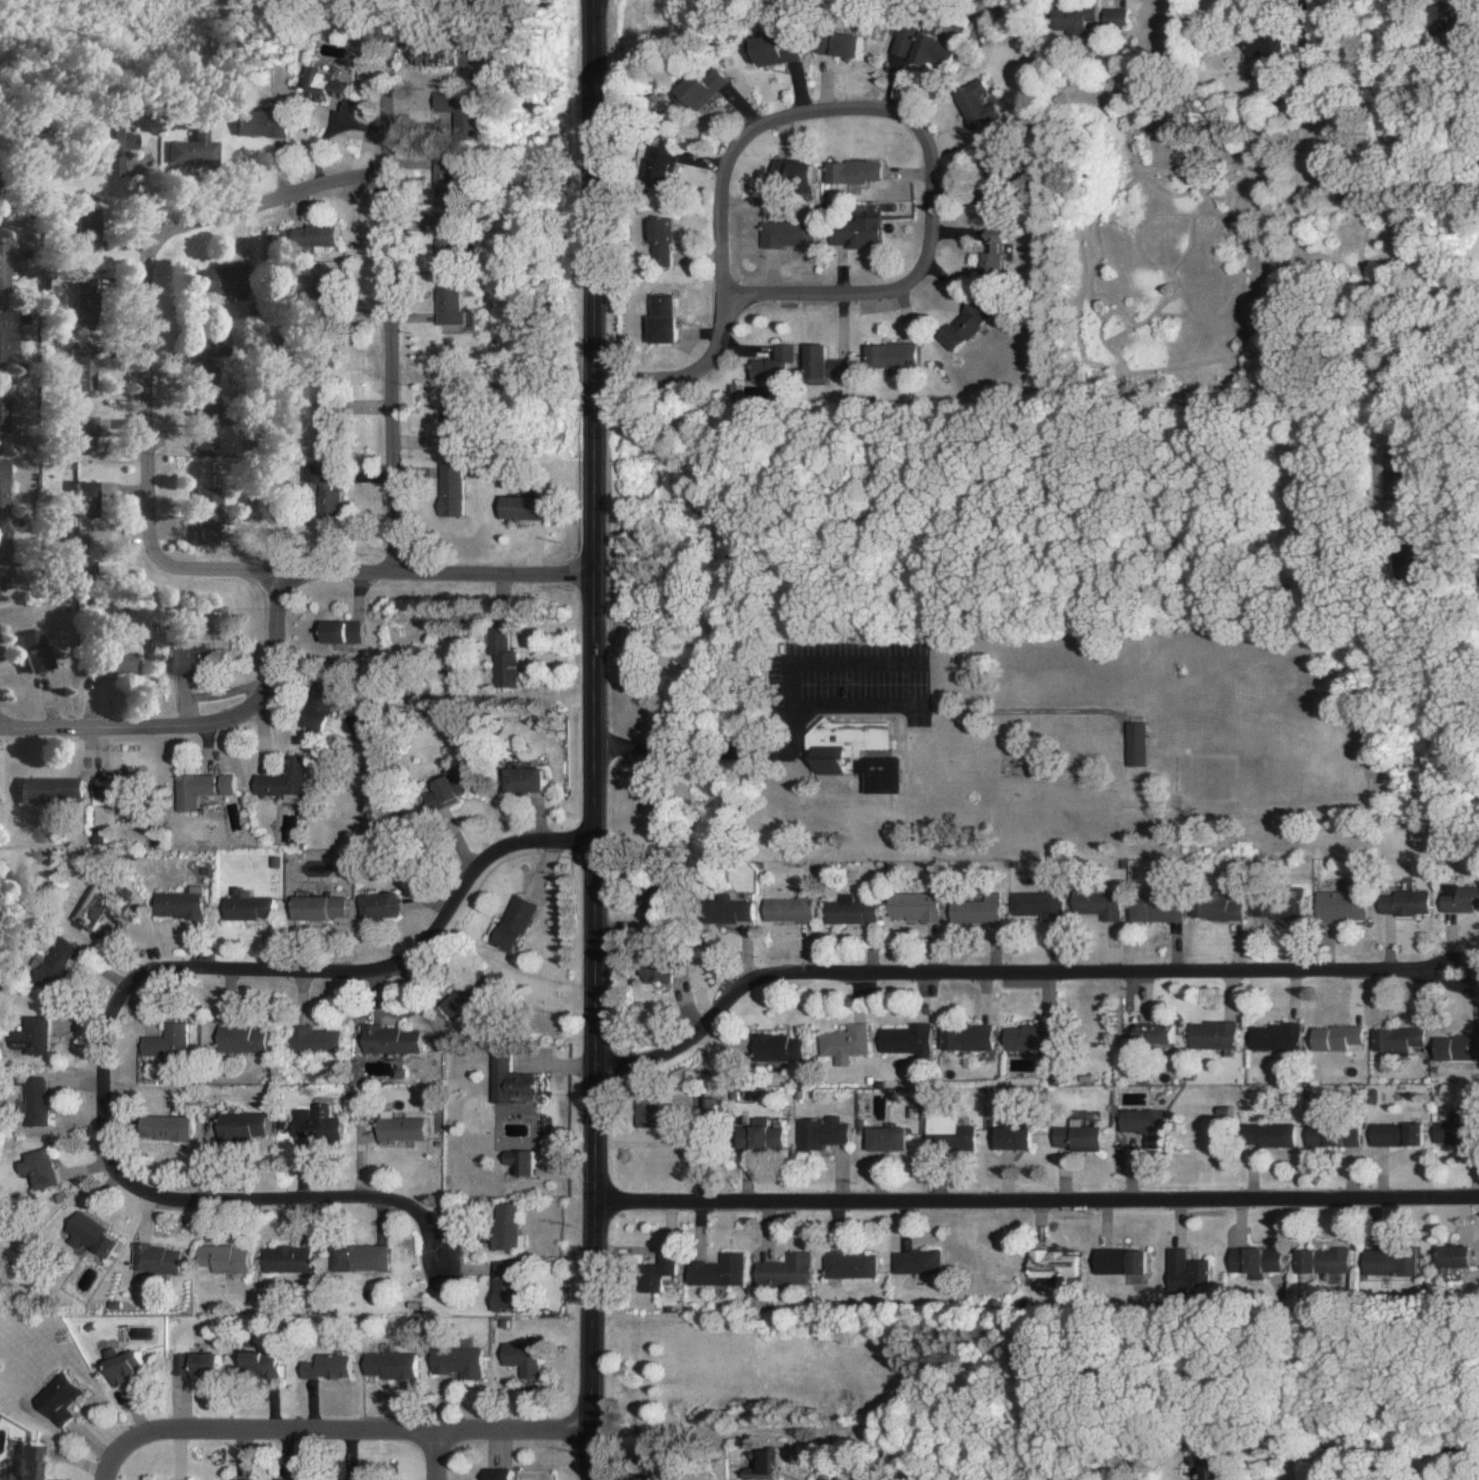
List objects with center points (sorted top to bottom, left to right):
building: (1114, 16)
building: (1075, 20)
building: (1460, 20)
road: (1288, 29)
building: (924, 44)
building: (850, 45)
building: (1263, 45)
building: (774, 50)
building: (440, 56)
building: (331, 86)
building: (707, 86)
building: (978, 104)
building: (456, 110)
building: (261, 123)
building: (112, 149)
building: (191, 149)
building: (665, 166)
building: (794, 171)
building: (854, 171)
building: (443, 183)
road: (932, 200)
building: (88, 229)
building: (855, 232)
building: (786, 234)
building: (314, 236)
building: (662, 241)
building: (997, 251)
building: (4, 268)
building: (220, 279)
road: (154, 287)
building: (447, 301)
building: (88, 304)
building: (661, 318)
building: (968, 326)
road: (390, 332)
building: (7, 338)
building: (891, 355)
building: (824, 363)
building: (87, 366)
building: (773, 366)
road: (690, 381)
building: (5, 412)
building: (84, 440)
building: (5, 486)
building: (447, 490)
building: (89, 497)
building: (326, 500)
building: (518, 508)
building: (211, 515)
building: (8, 565)
road: (375, 585)
building: (341, 632)
building: (39, 651)
building: (501, 658)
building: (119, 662)
building: (192, 662)
building: (316, 706)
road: (838, 706)
road: (195, 731)
road: (1, 735)
road: (586, 739)
building: (1130, 744)
building: (852, 754)
building: (520, 780)
building: (279, 781)
building: (51, 789)
building: (107, 789)
building: (199, 789)
building: (441, 793)
building: (1457, 898)
building: (1400, 903)
building: (96, 904)
building: (1033, 904)
building: (174, 905)
building: (1094, 905)
building: (376, 906)
building: (909, 906)
building: (1337, 906)
building: (243, 907)
building: (1151, 908)
building: (1267, 909)
building: (726, 910)
building: (785, 910)
building: (846, 910)
building: (972, 910)
building: (1213, 910)
building: (509, 924)
building: (53, 966)
building: (652, 973)
road: (1010, 973)
road: (105, 1003)
building: (1151, 1033)
building: (1209, 1035)
building: (1271, 1036)
building: (31, 1037)
building: (1024, 1037)
building: (1332, 1038)
building: (238, 1039)
building: (962, 1039)
building: (1393, 1039)
building: (311, 1040)
building: (387, 1040)
building: (902, 1040)
building: (163, 1041)
building: (839, 1043)
building: (1454, 1047)
building: (773, 1048)
building: (507, 1080)
building: (32, 1102)
building: (708, 1107)
building: (311, 1124)
building: (238, 1125)
building: (1142, 1126)
building: (161, 1128)
building: (396, 1130)
building: (816, 1133)
building: (943, 1133)
building: (1394, 1134)
building: (757, 1135)
building: (1267, 1135)
building: (1328, 1136)
building: (1010, 1137)
building: (1074, 1137)
building: (883, 1139)
building: (516, 1162)
building: (36, 1168)
road: (1035, 1205)
building: (501, 1226)
building: (87, 1235)
building: (1453, 1255)
building: (355, 1257)
building: (152, 1258)
building: (220, 1258)
building: (283, 1258)
building: (1321, 1260)
building: (1118, 1261)
building: (1252, 1261)
building: (913, 1262)
building: (845, 1265)
building: (1049, 1265)
building: (655, 1269)
building: (712, 1270)
building: (780, 1270)
building: (1183, 1271)
building: (501, 1286)
building: (518, 1358)
building: (258, 1361)
building: (454, 1361)
building: (192, 1363)
building: (387, 1365)
building: (121, 1366)
building: (325, 1366)
building: (56, 1399)
road: (353, 1435)
road: (1363, 1450)
road: (432, 1457)
building: (30, 1464)
building: (755, 1464)
road: (113, 1465)
building: (1211, 1468)
building: (493, 1474)
building: (289, 1479)

